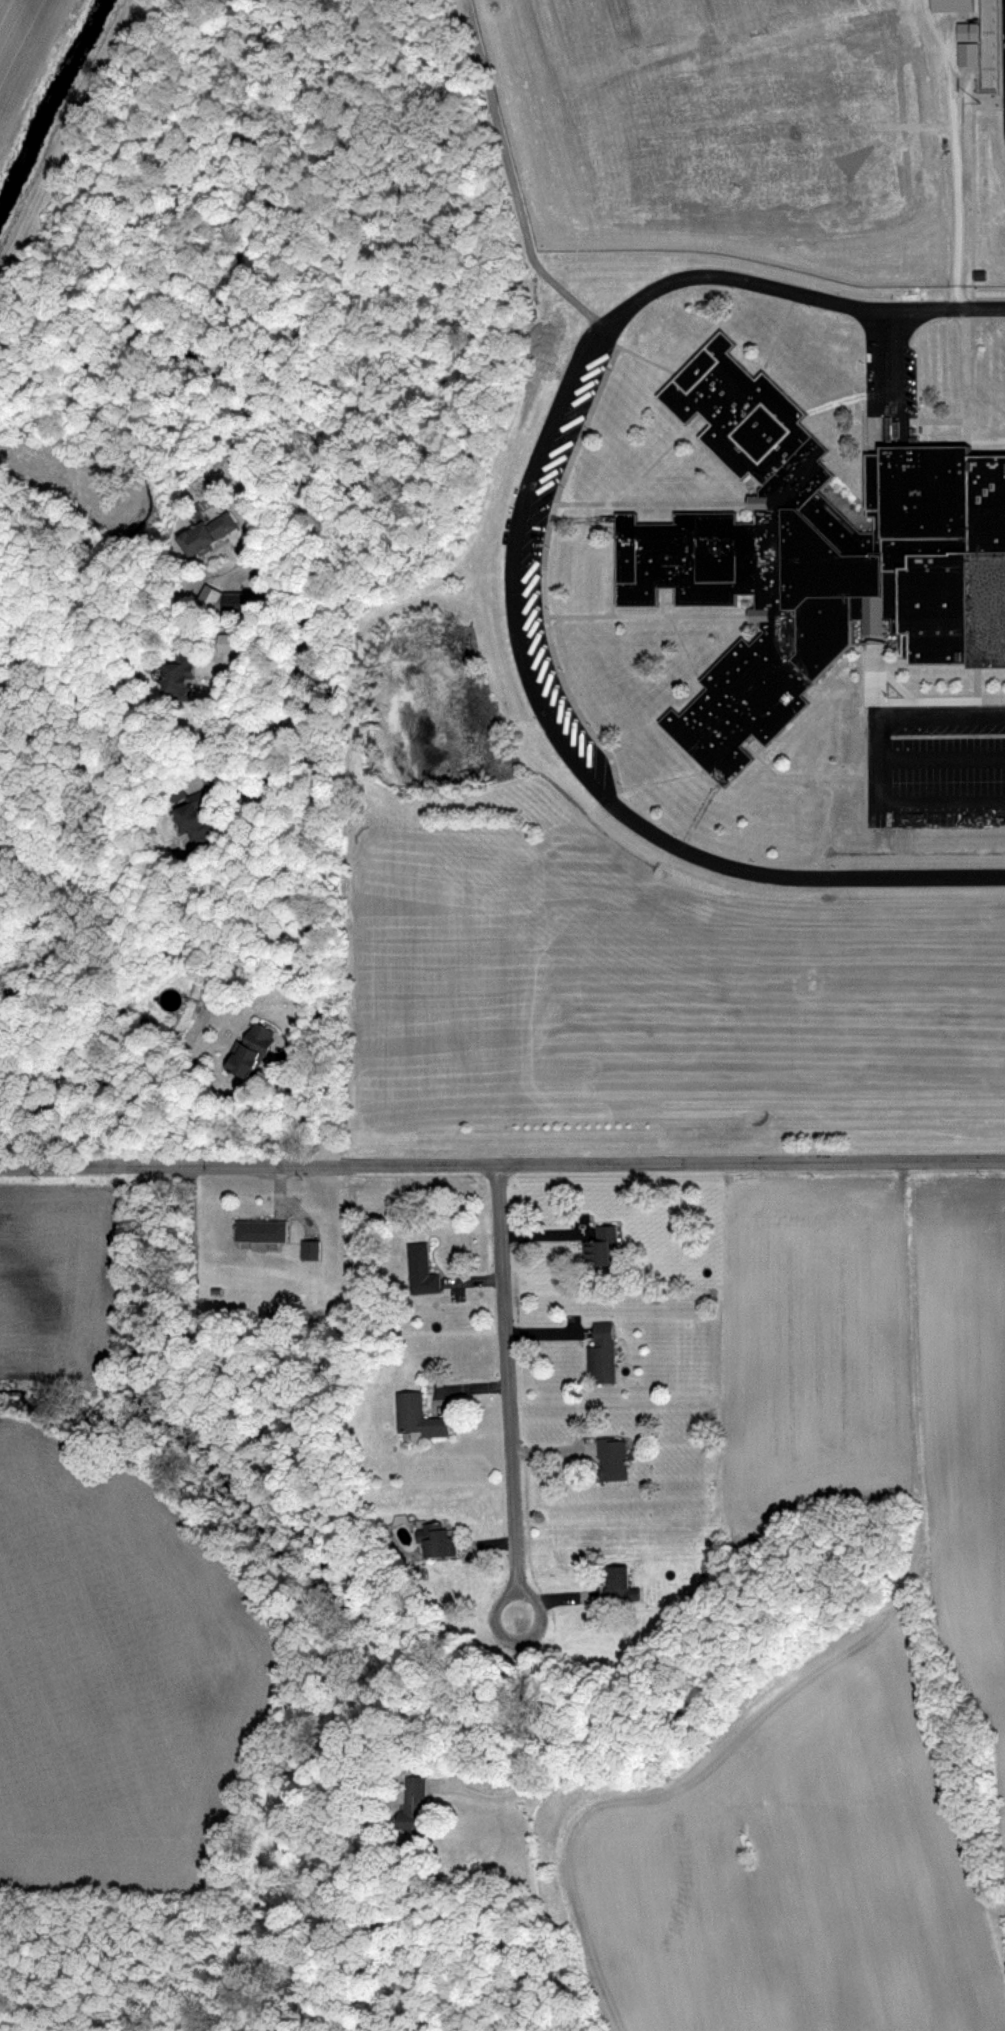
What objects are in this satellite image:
building: (949, 5)
park: (759, 9)
park: (586, 34)
track: (1004, 43)
building: (965, 54)
road: (1001, 62)
river: (50, 105)
park: (825, 148)
park: (675, 150)
road: (954, 160)
road: (512, 186)
road: (973, 186)
road: (948, 306)
road: (780, 326)
road: (894, 351)
road: (647, 355)
road: (966, 370)
road: (395, 390)
road: (895, 402)
road: (880, 405)
road: (695, 423)
road: (983, 437)
road: (862, 457)
road: (681, 499)
road: (561, 500)
building: (207, 536)
building: (815, 551)
road: (612, 592)
road: (662, 597)
road: (667, 598)
building: (238, 602)
road: (590, 613)
road: (515, 617)
road: (888, 643)
road: (684, 644)
road: (903, 644)
road: (949, 660)
road: (252, 673)
road: (976, 678)
building: (181, 679)
road: (905, 692)
road: (957, 697)
road: (864, 720)
road: (601, 742)
road: (943, 756)
road: (881, 757)
parking lot: (934, 763)
road: (798, 771)
road: (261, 777)
building: (201, 782)
building: (178, 790)
building: (198, 821)
road: (319, 845)
building: (252, 1052)
road: (502, 1160)
building: (262, 1229)
building: (603, 1246)
building: (310, 1248)
building: (423, 1268)
building: (604, 1353)
crop: (874, 1363)
road: (505, 1376)
building: (419, 1416)
building: (614, 1459)
building: (439, 1539)
building: (625, 1585)
crop: (100, 1597)
road: (522, 1642)
road: (527, 1758)
building: (418, 1800)
crop: (786, 1861)

